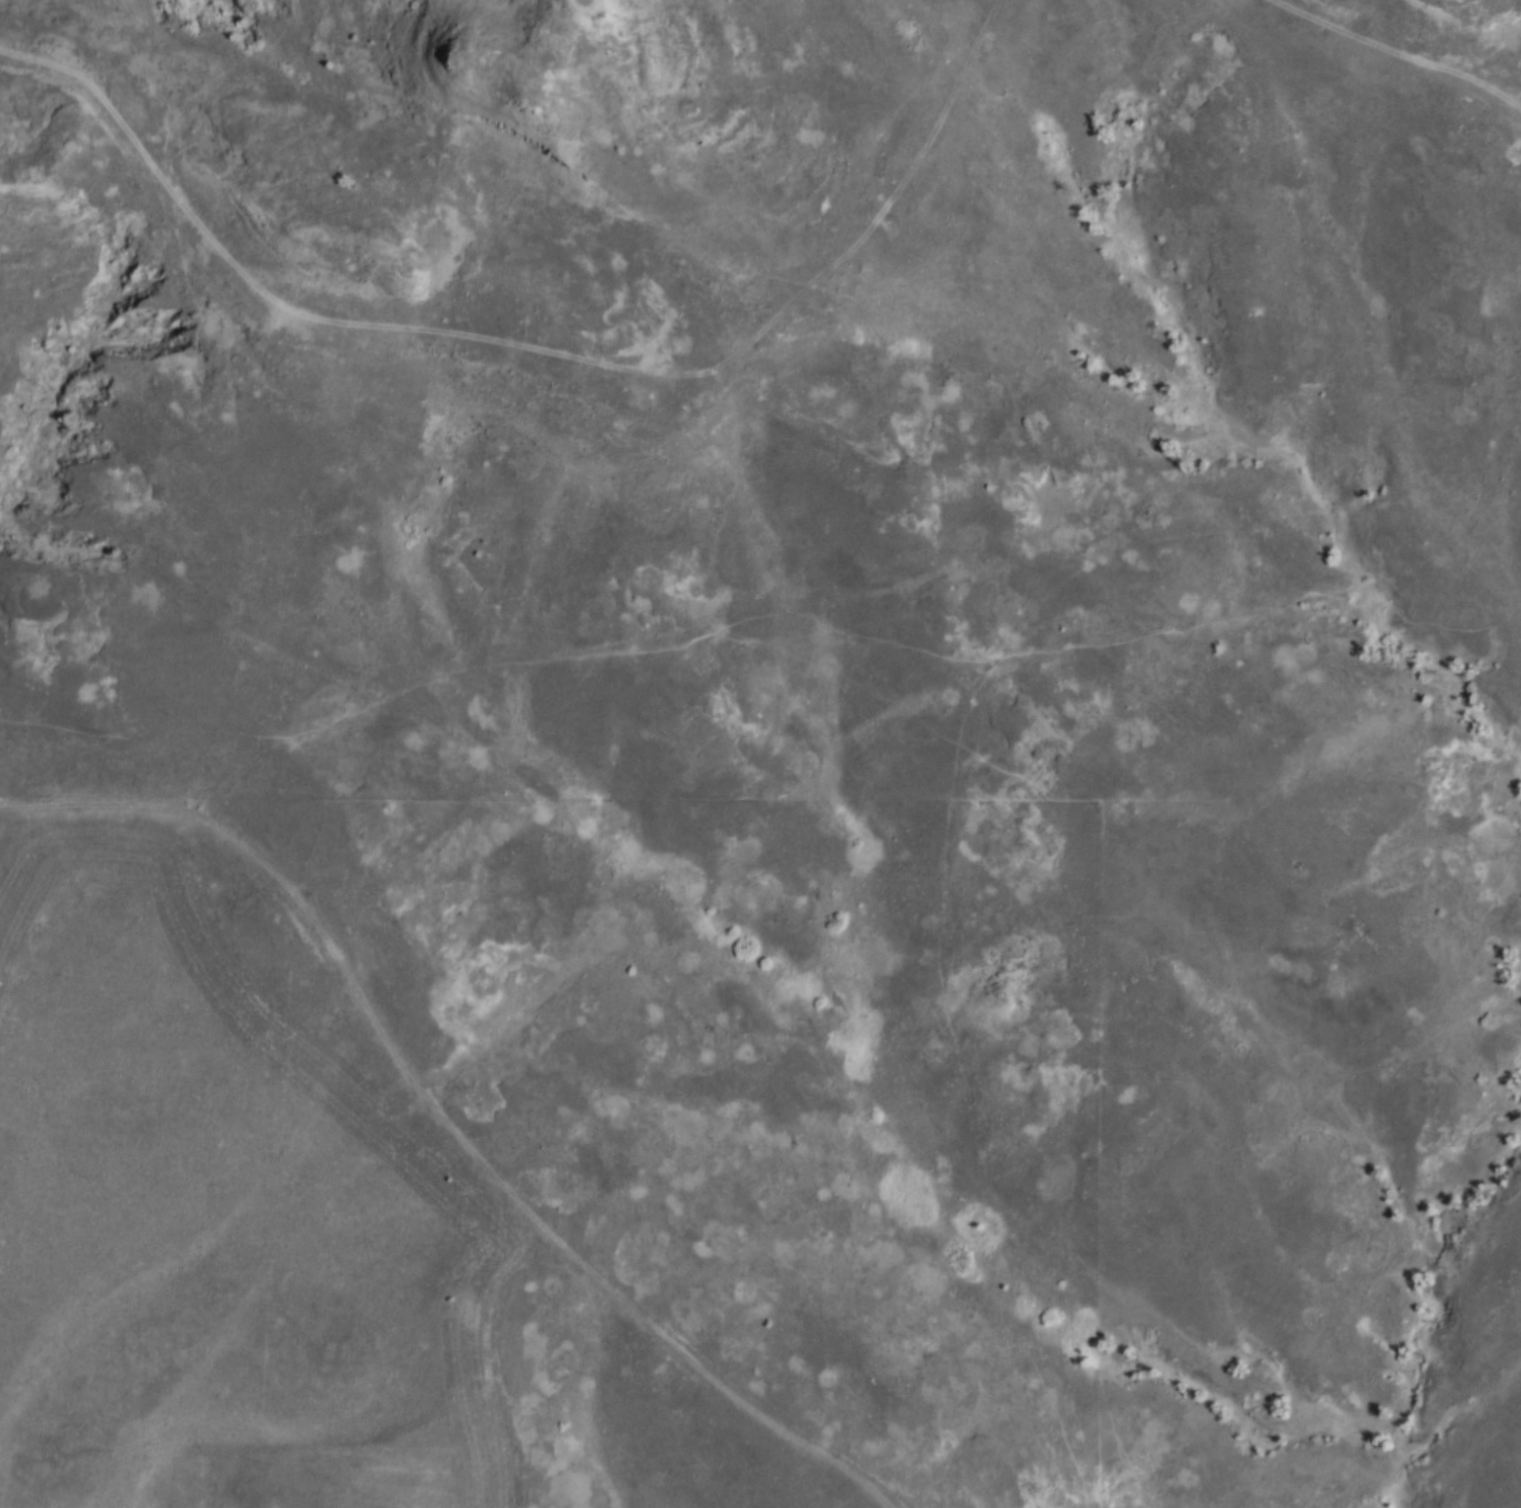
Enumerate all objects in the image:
road: (1398, 53)
road: (536, 346)
road: (442, 1121)

